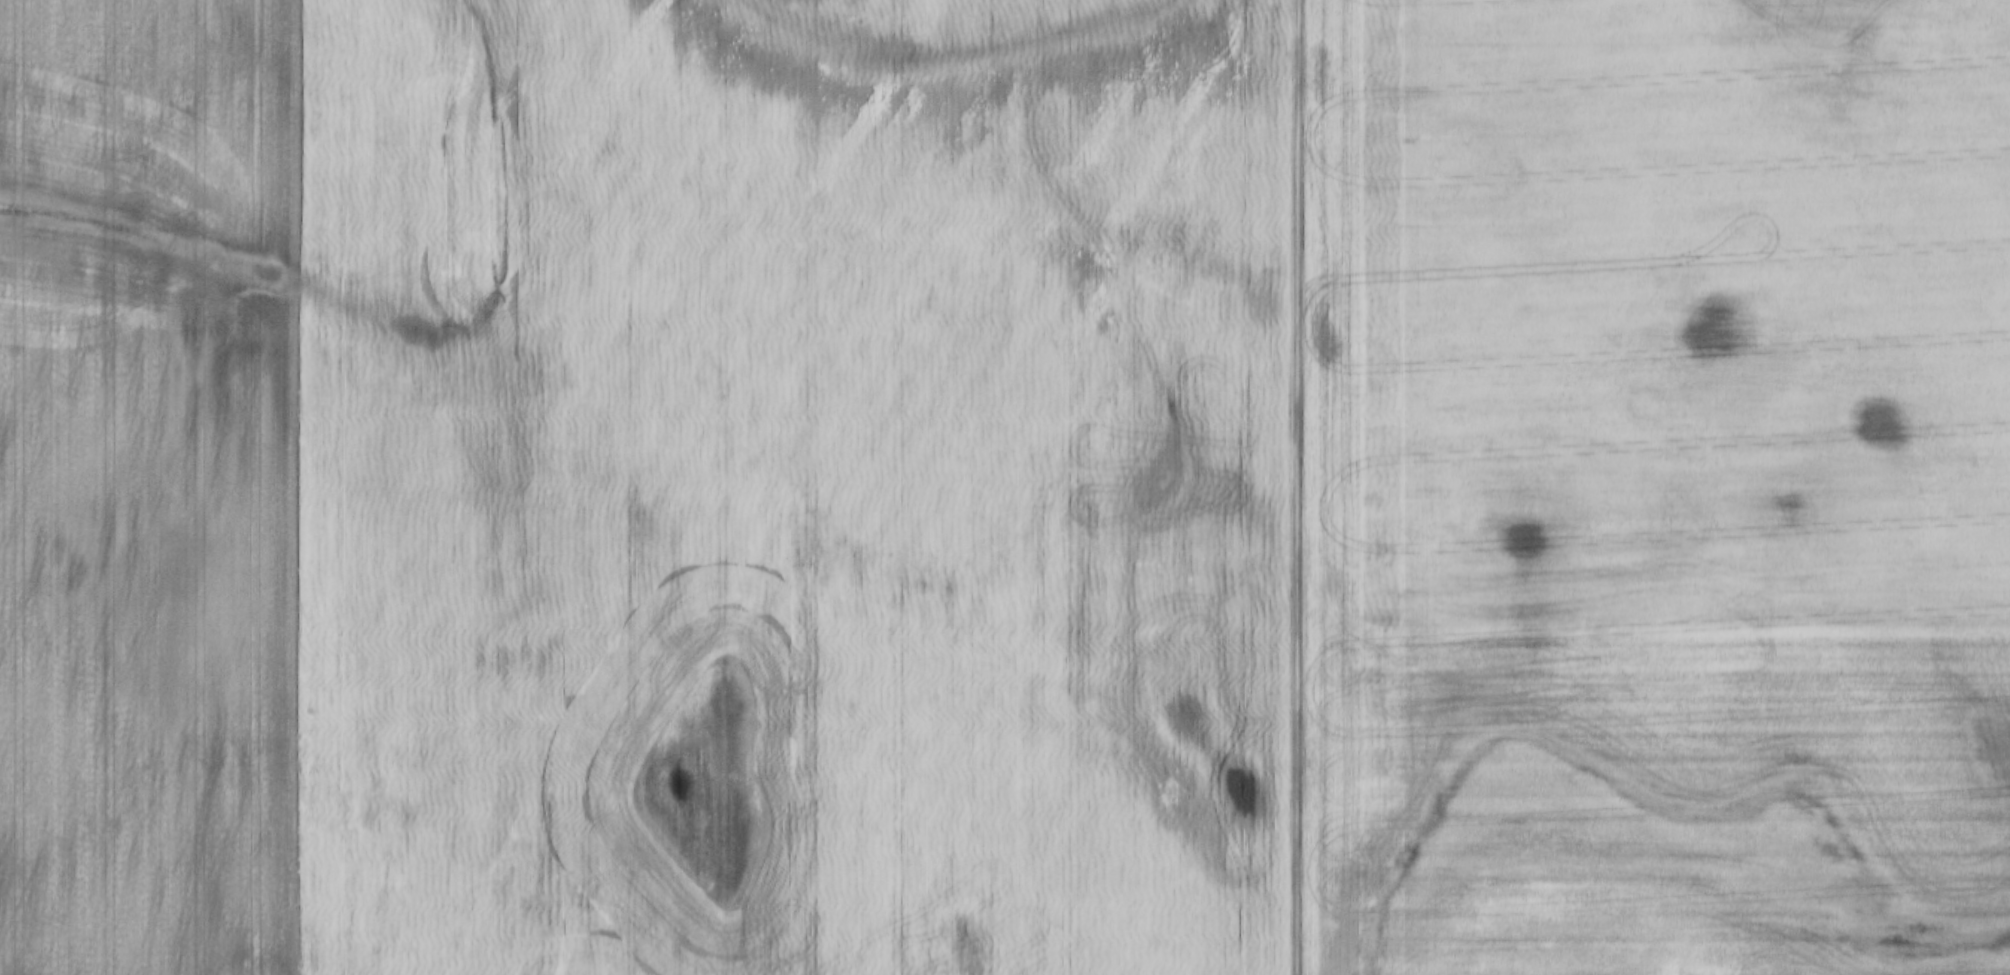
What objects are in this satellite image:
road: (1301, 487)

